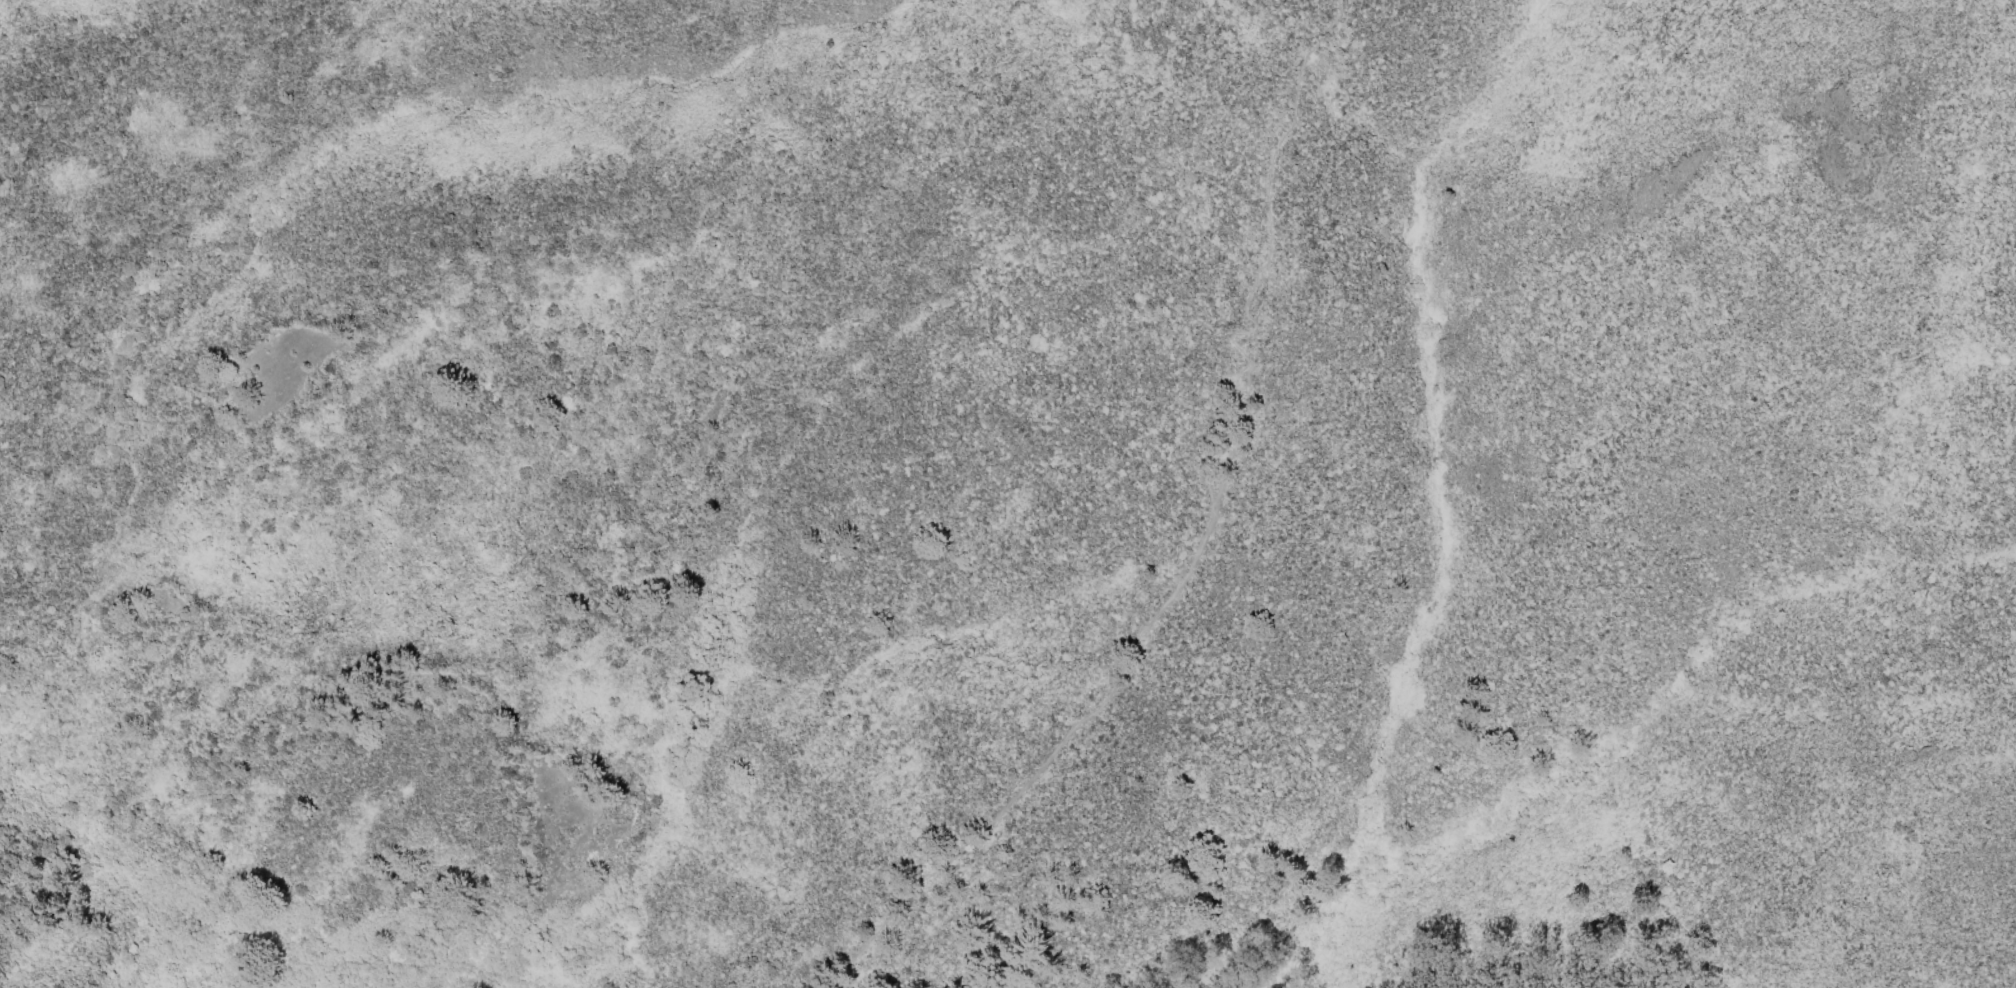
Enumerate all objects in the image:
park: (1090, 491)
road: (1193, 551)

